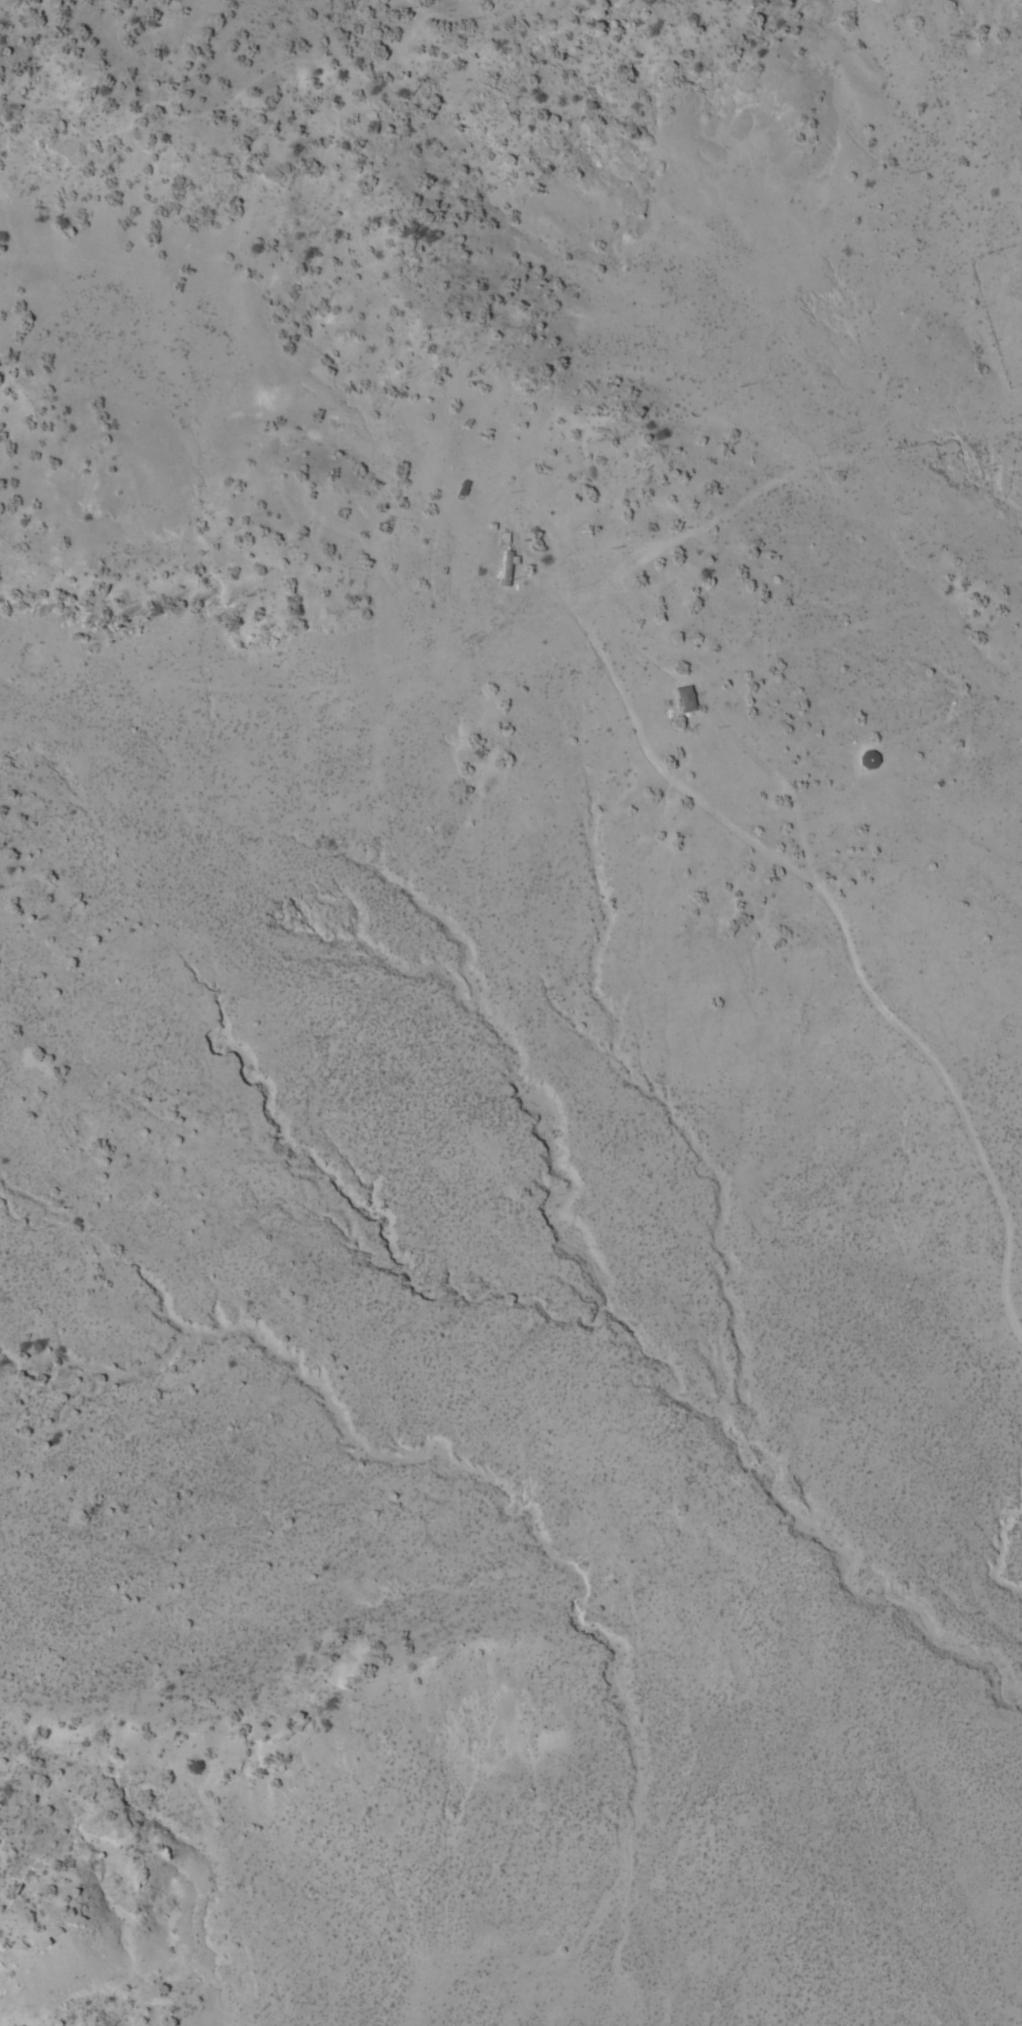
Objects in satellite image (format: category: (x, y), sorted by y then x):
building: (502, 568)
building: (679, 699)
road: (302, 746)
road: (683, 768)

